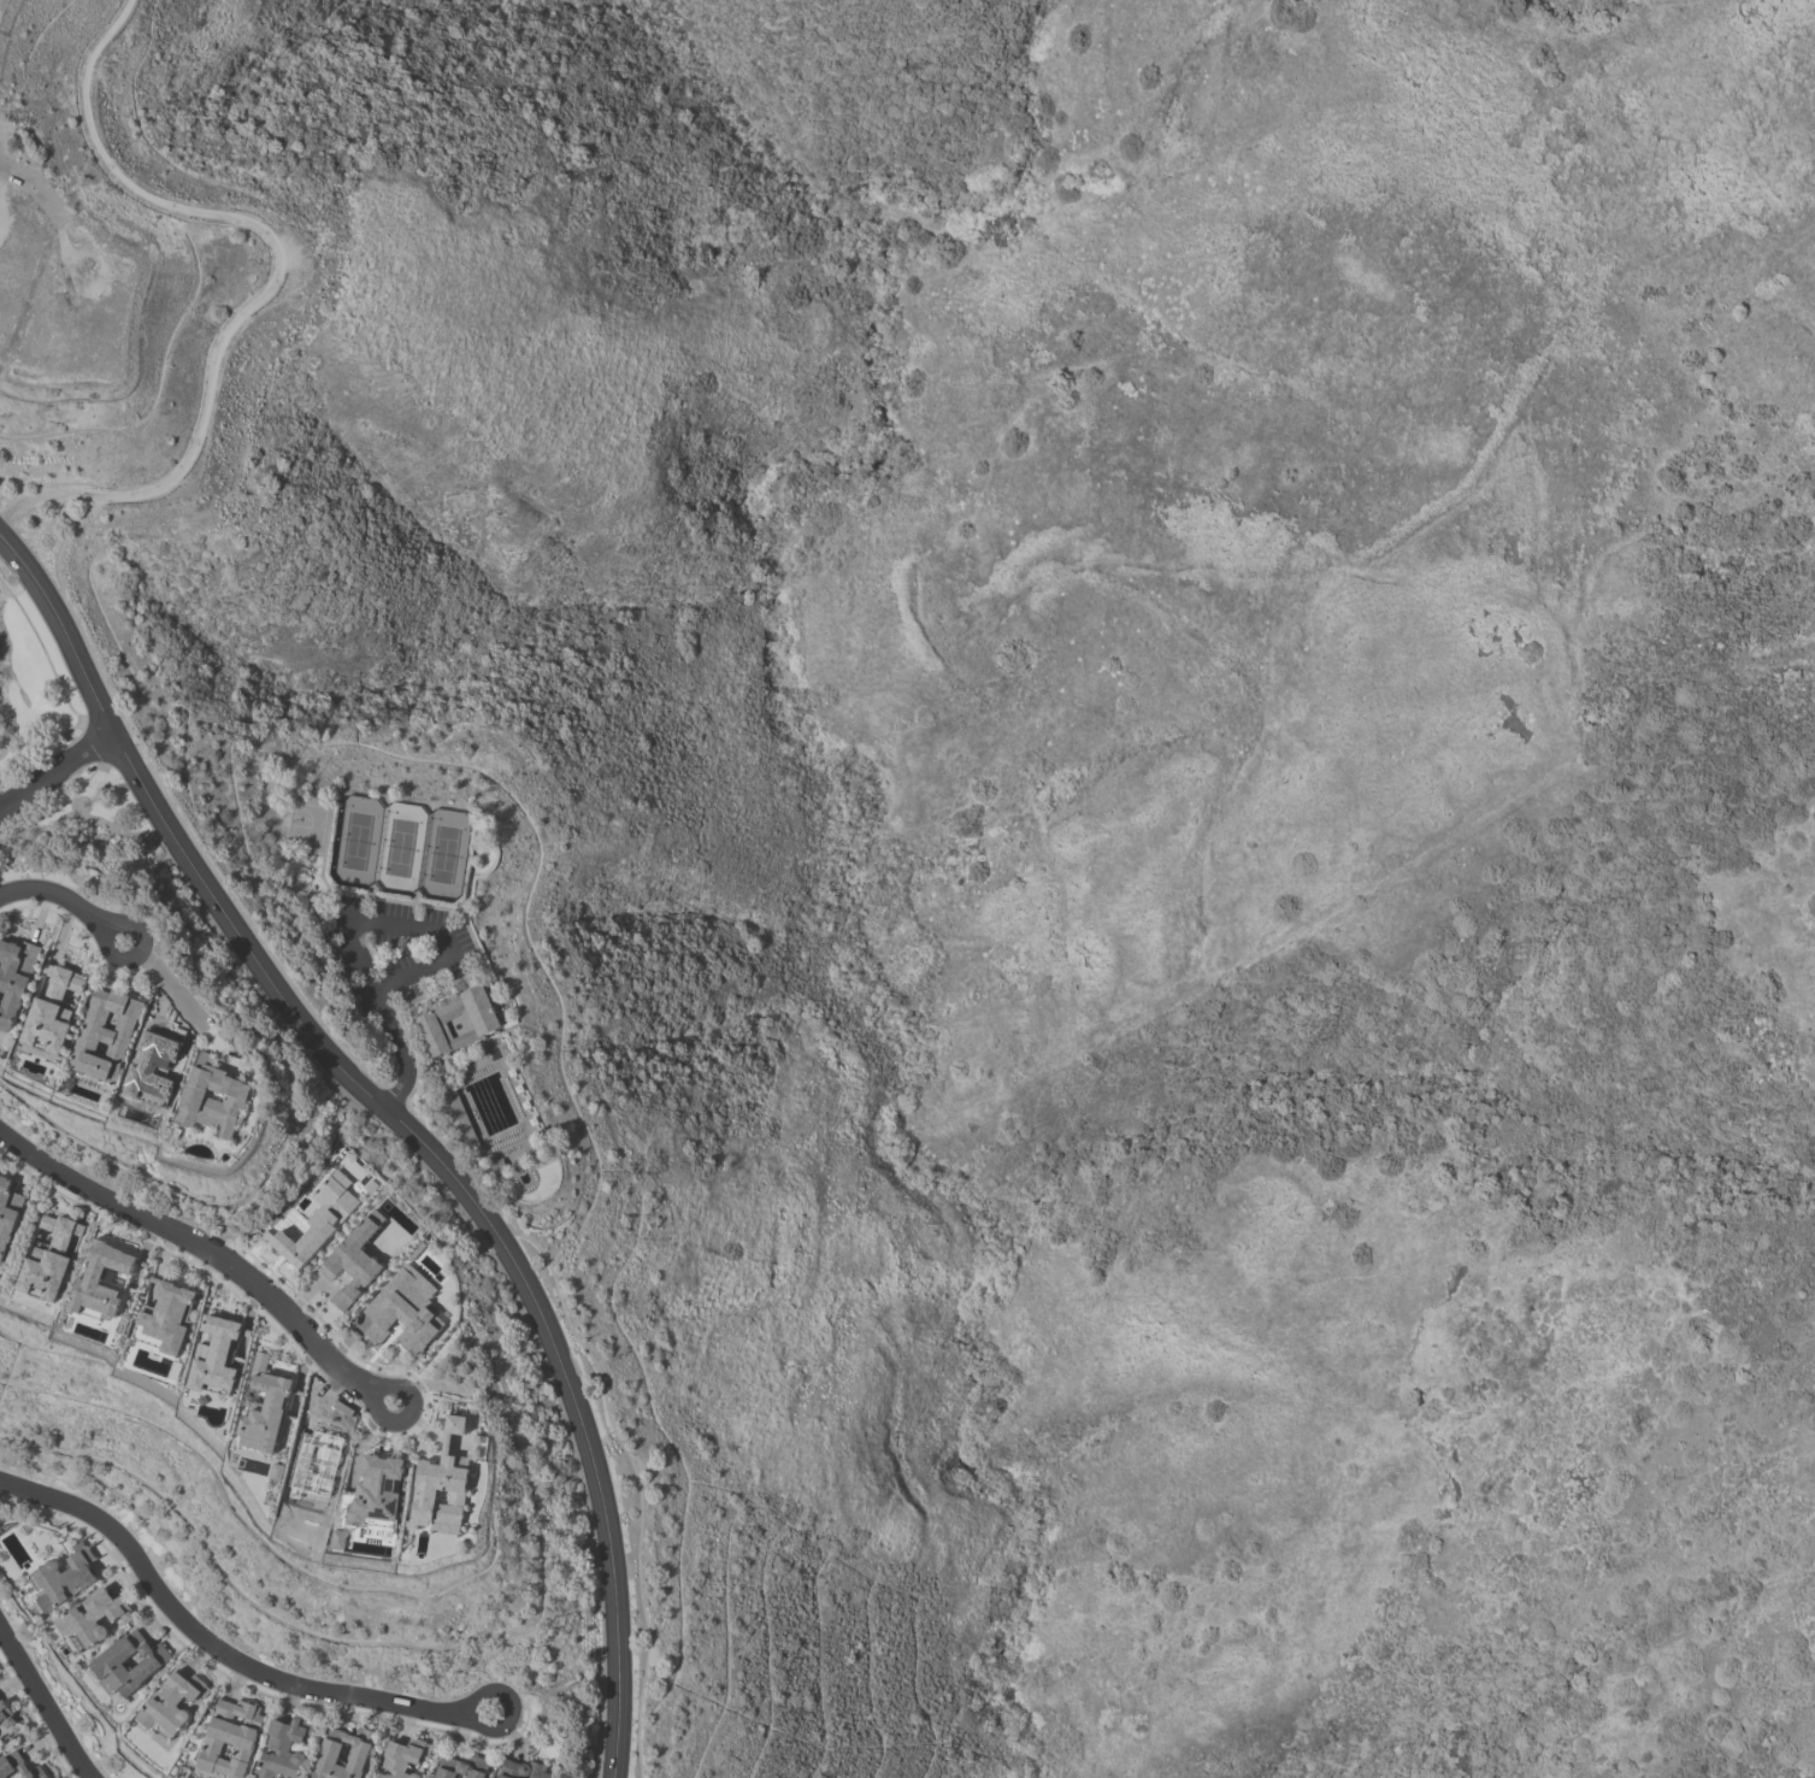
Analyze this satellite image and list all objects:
road: (37, 188)
road: (275, 282)
road: (58, 772)
road: (70, 900)
road: (354, 930)
building: (14, 977)
building: (52, 1009)
building: (481, 1019)
building: (105, 1035)
building: (213, 1099)
road: (402, 1121)
building: (7, 1213)
building: (318, 1219)
road: (207, 1252)
building: (49, 1259)
building: (354, 1260)
building: (100, 1280)
building: (403, 1309)
building: (165, 1317)
building: (216, 1355)
building: (265, 1407)
building: (442, 1484)
building: (377, 1493)
building: (338, 1539)
building: (64, 1577)
building: (93, 1617)
road: (211, 1639)
building: (107, 1664)
road: (47, 1700)
building: (171, 1703)
road: (507, 1709)
building: (6, 1714)
building: (231, 1737)
building: (284, 1749)
building: (329, 1754)
building: (403, 1758)
building: (19, 1766)
building: (462, 1767)
building: (523, 1768)

